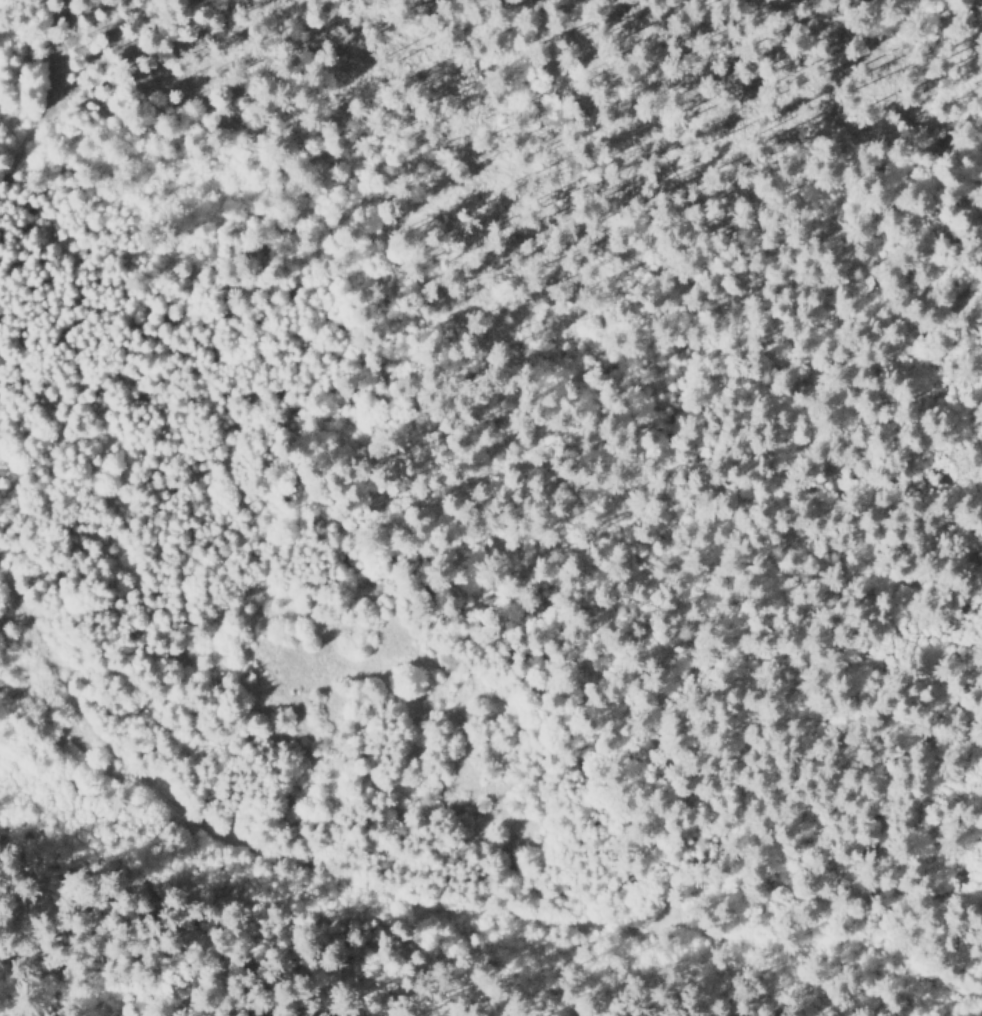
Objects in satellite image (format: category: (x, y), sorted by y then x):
road: (42, 90)
road: (428, 898)
road: (975, 1010)

